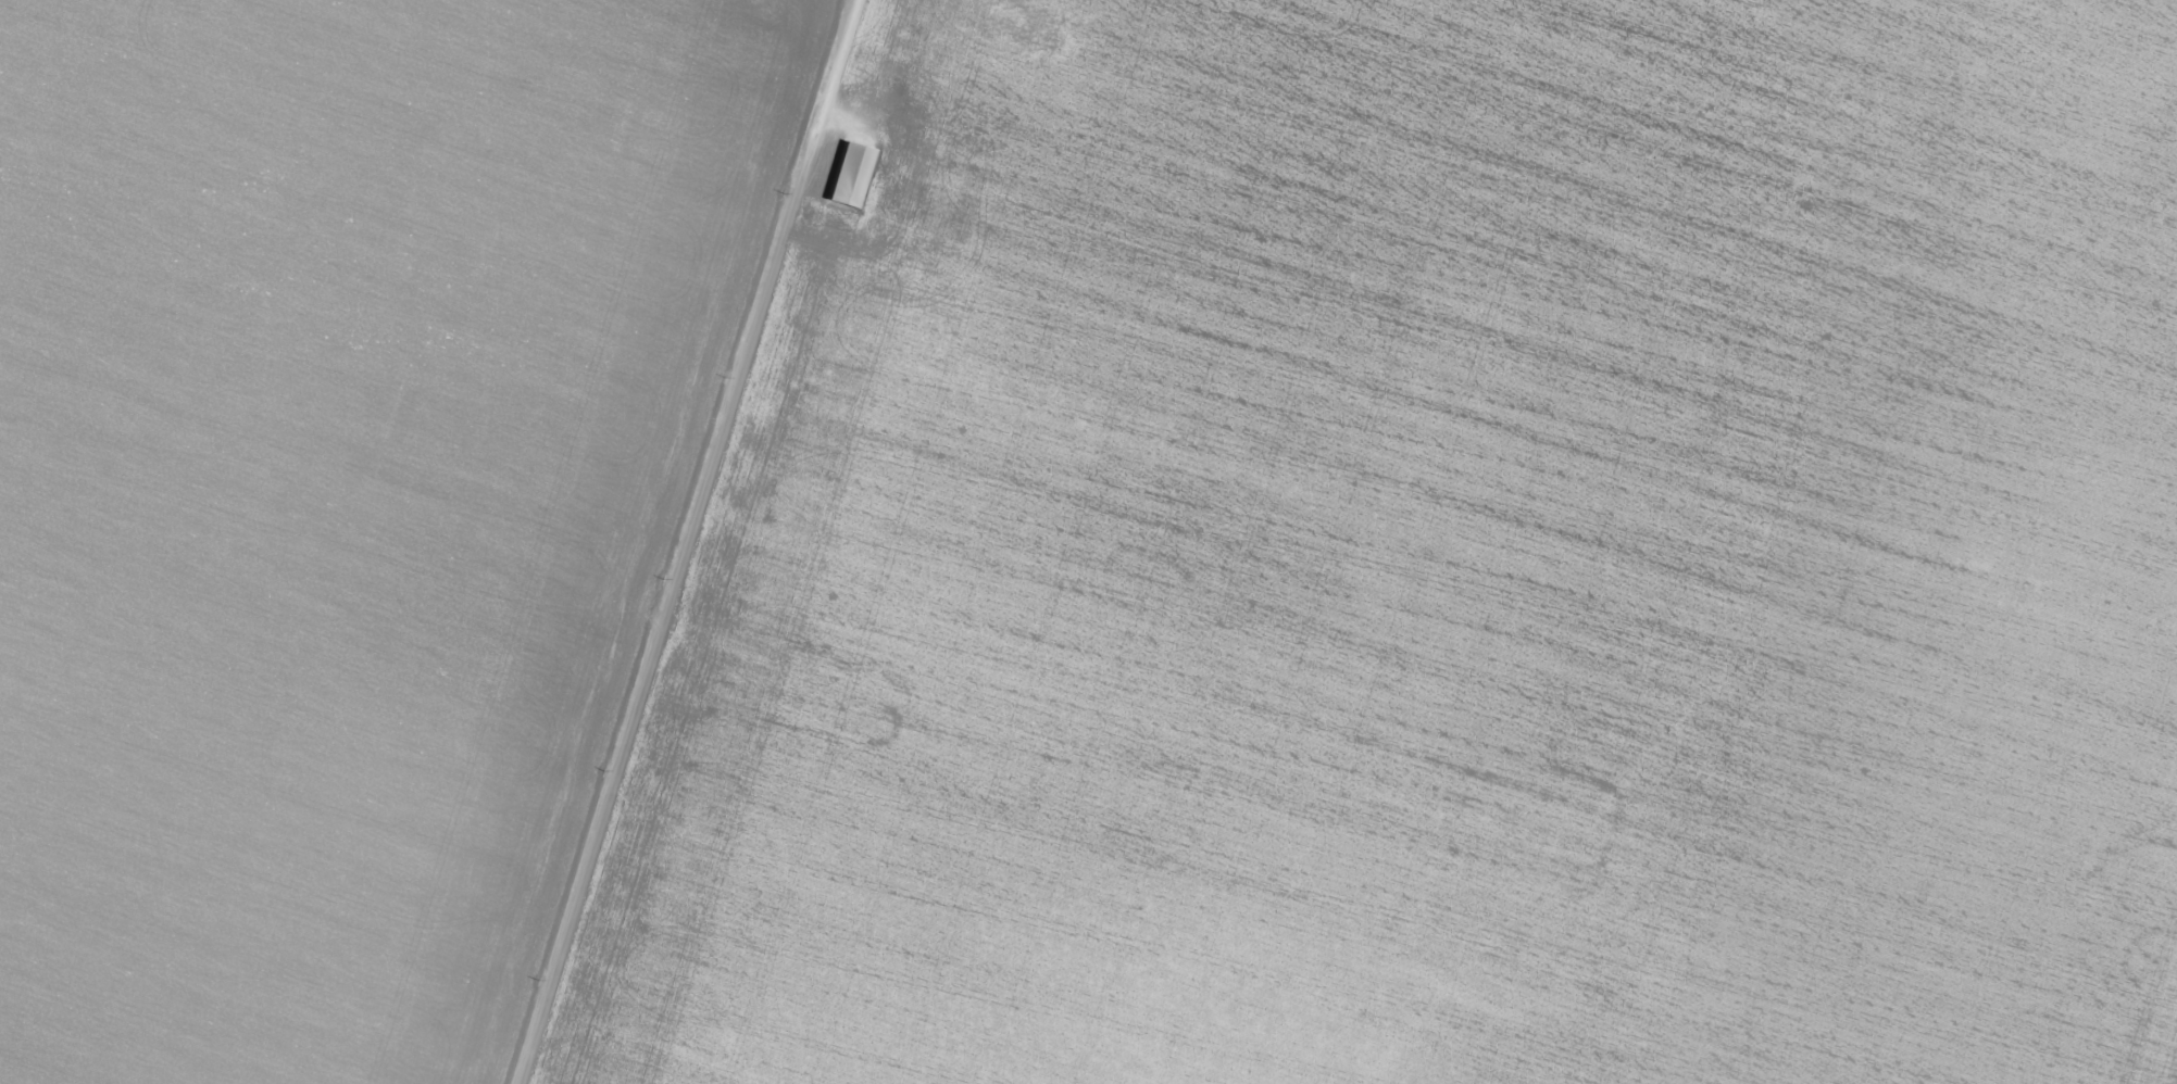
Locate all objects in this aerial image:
building: (848, 176)
road: (685, 542)

